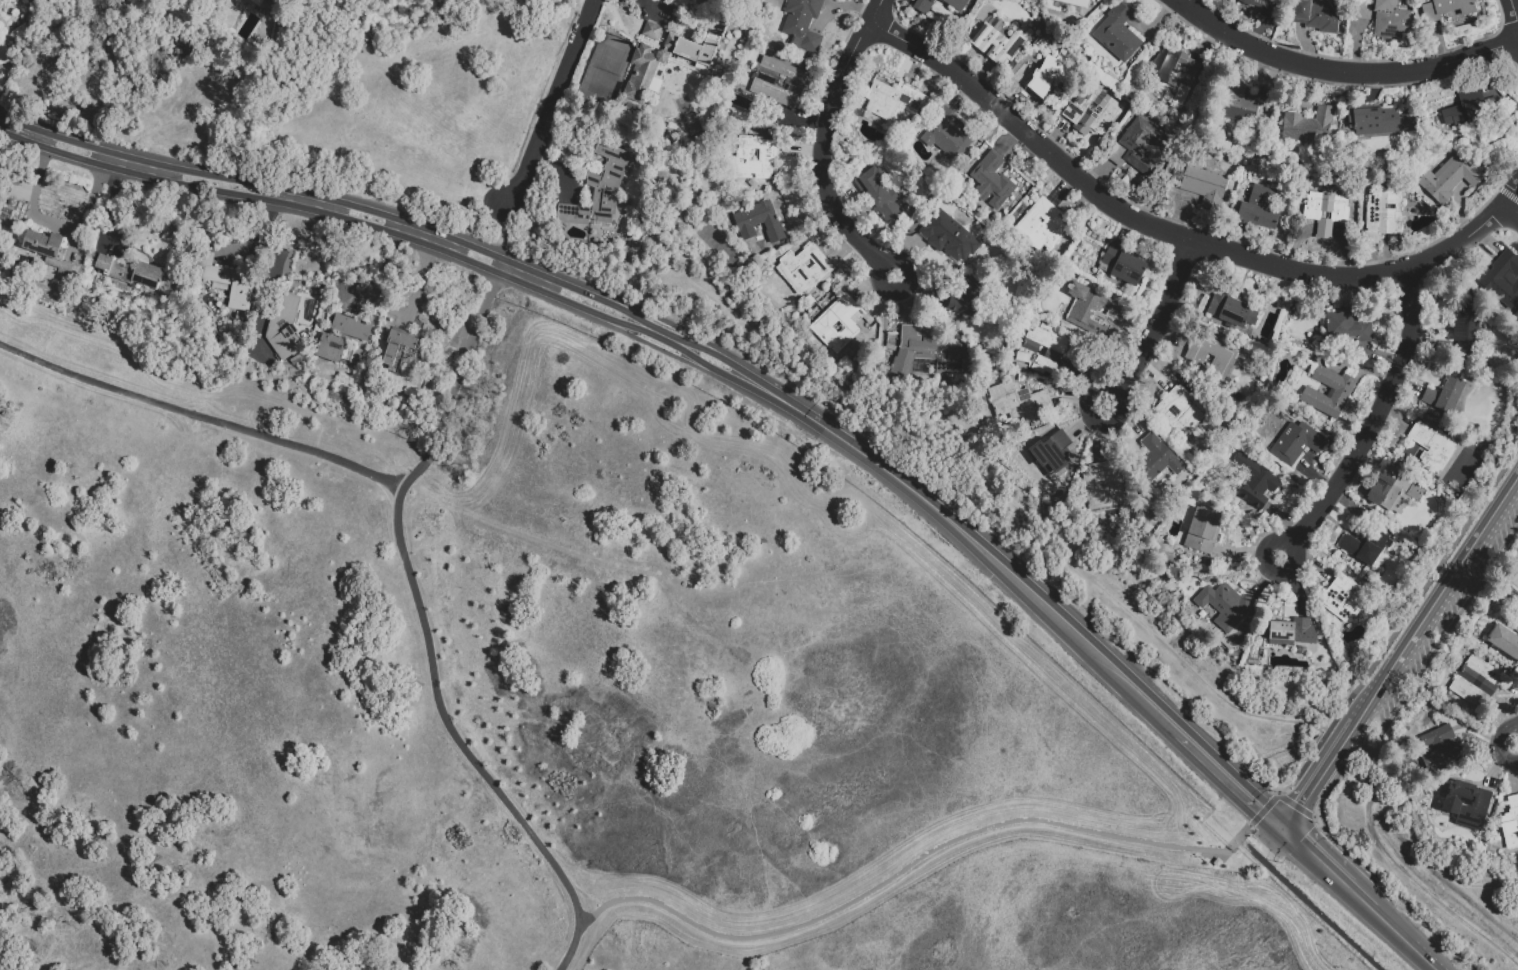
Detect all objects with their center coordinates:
building: (237, 1)
building: (257, 2)
building: (1075, 3)
road: (1516, 3)
building: (955, 4)
building: (1260, 4)
building: (269, 5)
building: (924, 6)
building: (1447, 9)
road: (1205, 10)
building: (1363, 13)
building: (1317, 16)
building: (1391, 20)
building: (802, 23)
building: (1118, 34)
building: (8, 36)
building: (997, 45)
building: (1058, 51)
building: (664, 61)
road: (1339, 71)
building: (1177, 75)
building: (1044, 76)
building: (718, 80)
building: (776, 87)
building: (736, 90)
road: (551, 101)
park: (340, 102)
building: (895, 104)
building: (1236, 104)
building: (1470, 110)
building: (1092, 112)
building: (1380, 121)
building: (1309, 127)
road: (24, 131)
road: (1186, 131)
building: (948, 137)
building: (1444, 141)
road: (74, 142)
road: (824, 145)
building: (1138, 148)
road: (70, 155)
road: (100, 155)
road: (112, 158)
building: (753, 158)
road: (147, 167)
road: (220, 176)
building: (1449, 180)
building: (608, 182)
building: (992, 183)
building: (1205, 187)
road: (216, 189)
road: (267, 192)
building: (877, 195)
building: (1237, 196)
building: (1302, 196)
road: (112, 197)
road: (304, 200)
building: (10, 203)
road: (367, 209)
building: (1259, 209)
building: (1326, 213)
road: (1511, 213)
building: (577, 216)
building: (1382, 216)
road: (363, 222)
road: (55, 223)
building: (761, 226)
building: (1043, 227)
road: (504, 229)
road: (414, 233)
road: (1177, 235)
road: (261, 237)
building: (949, 238)
road: (446, 244)
building: (48, 251)
road: (482, 251)
road: (383, 260)
road: (476, 263)
building: (973, 265)
building: (1124, 265)
building: (807, 268)
building: (130, 273)
road: (525, 277)
road: (422, 278)
building: (1502, 281)
building: (224, 282)
building: (166, 291)
road: (586, 293)
building: (967, 300)
road: (582, 306)
building: (814, 308)
building: (1231, 309)
building: (1090, 311)
road: (630, 317)
building: (952, 320)
road: (669, 323)
road: (1150, 323)
road: (629, 324)
building: (839, 325)
road: (885, 325)
building: (284, 328)
building: (1348, 329)
building: (1465, 330)
building: (307, 336)
road: (662, 336)
building: (343, 340)
building: (395, 345)
road: (698, 347)
road: (660, 350)
building: (1042, 351)
building: (926, 354)
road: (695, 357)
building: (296, 360)
building: (841, 360)
building: (1209, 360)
road: (733, 366)
building: (398, 368)
road: (729, 375)
road: (458, 382)
building: (1191, 389)
building: (1340, 394)
building: (1445, 396)
building: (1017, 402)
building: (1180, 412)
road: (1371, 424)
building: (1296, 445)
building: (1432, 448)
building: (1050, 458)
building: (1158, 459)
building: (1020, 465)
building: (1254, 483)
building: (1104, 487)
building: (1394, 492)
building: (1203, 532)
road: (400, 541)
road: (975, 544)
building: (1366, 548)
road: (1227, 565)
road: (1084, 570)
road: (1437, 597)
building: (1343, 599)
building: (1224, 607)
road: (1399, 624)
building: (1287, 635)
building: (1504, 642)
road: (1415, 678)
building: (1475, 683)
parking lot: (1380, 716)
road: (1516, 743)
building: (1438, 747)
road: (1516, 747)
road: (1318, 774)
road: (1229, 782)
road: (1293, 804)
building: (1462, 806)
road: (1263, 809)
road: (1313, 816)
building: (1511, 823)
traffic signals: (1282, 830)
road: (1244, 831)
road: (1313, 859)
building: (1218, 862)
road: (902, 870)
road: (1404, 871)
road: (1310, 904)
road: (1389, 929)

